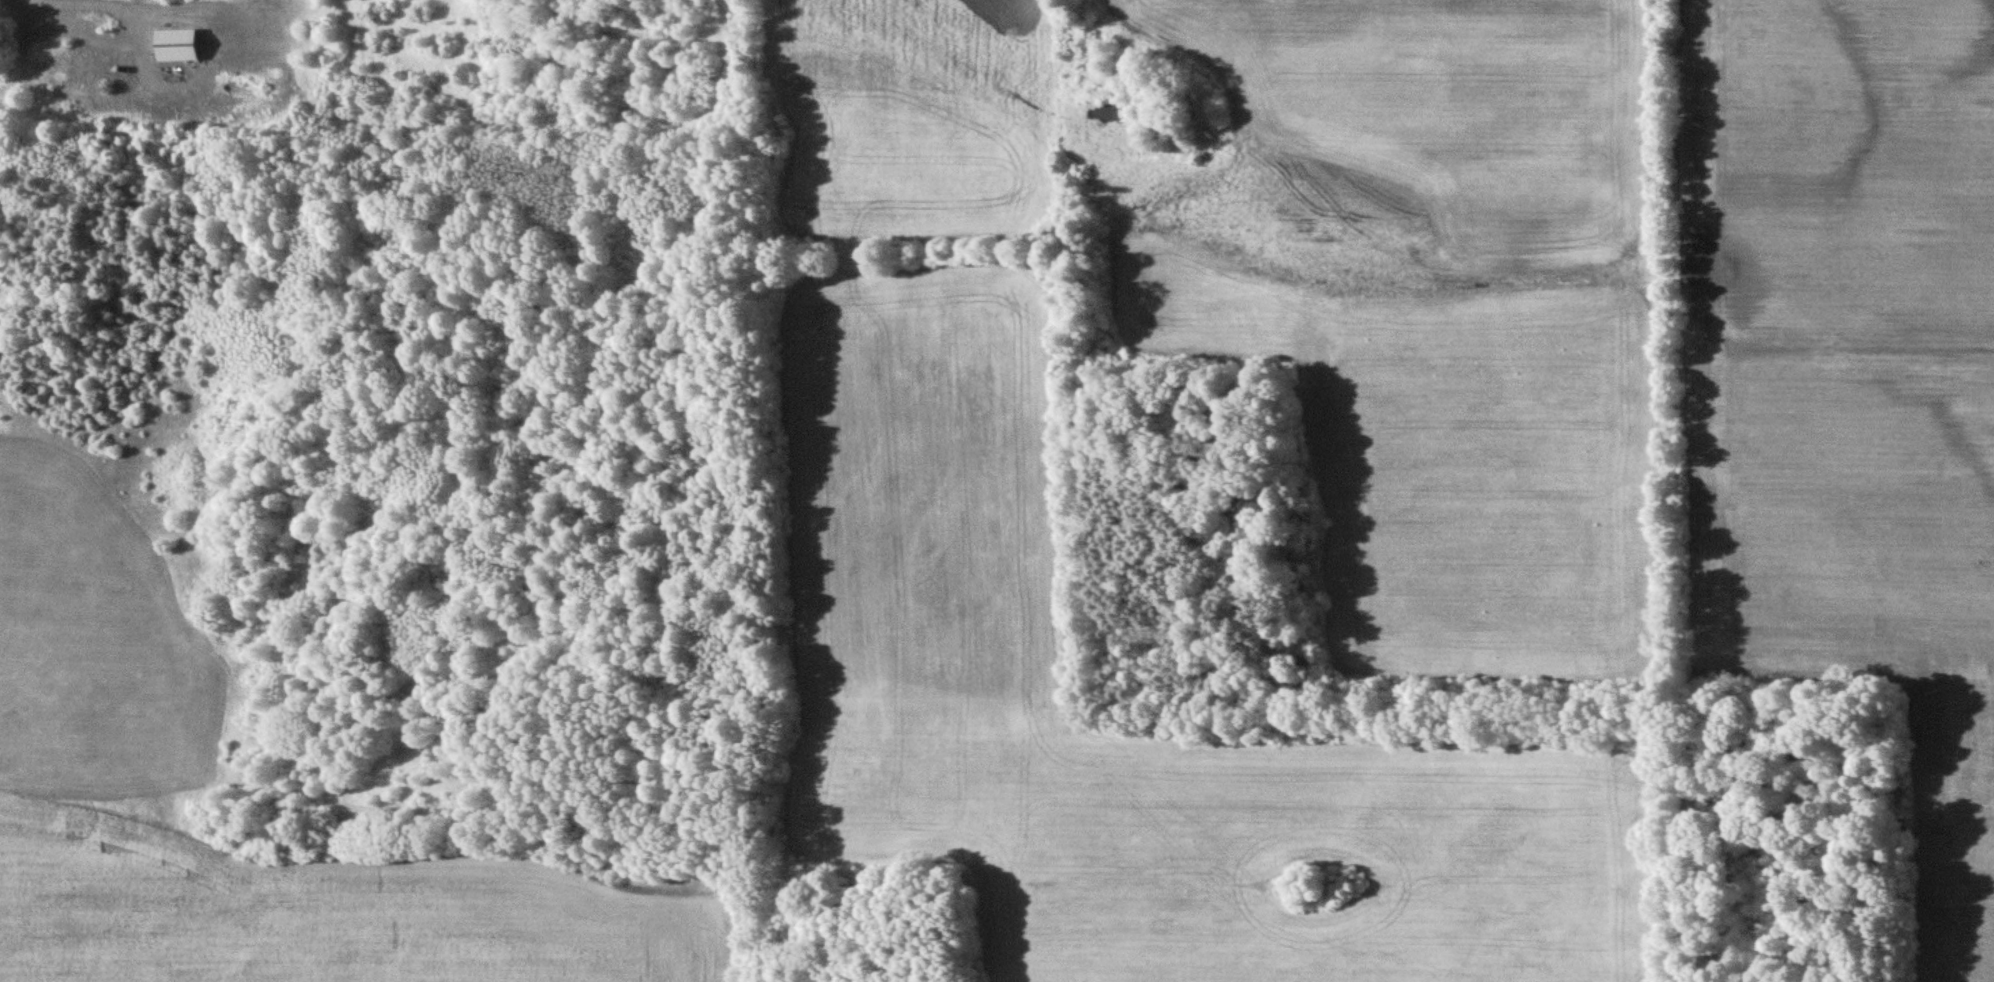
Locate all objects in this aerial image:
building: (183, 44)

